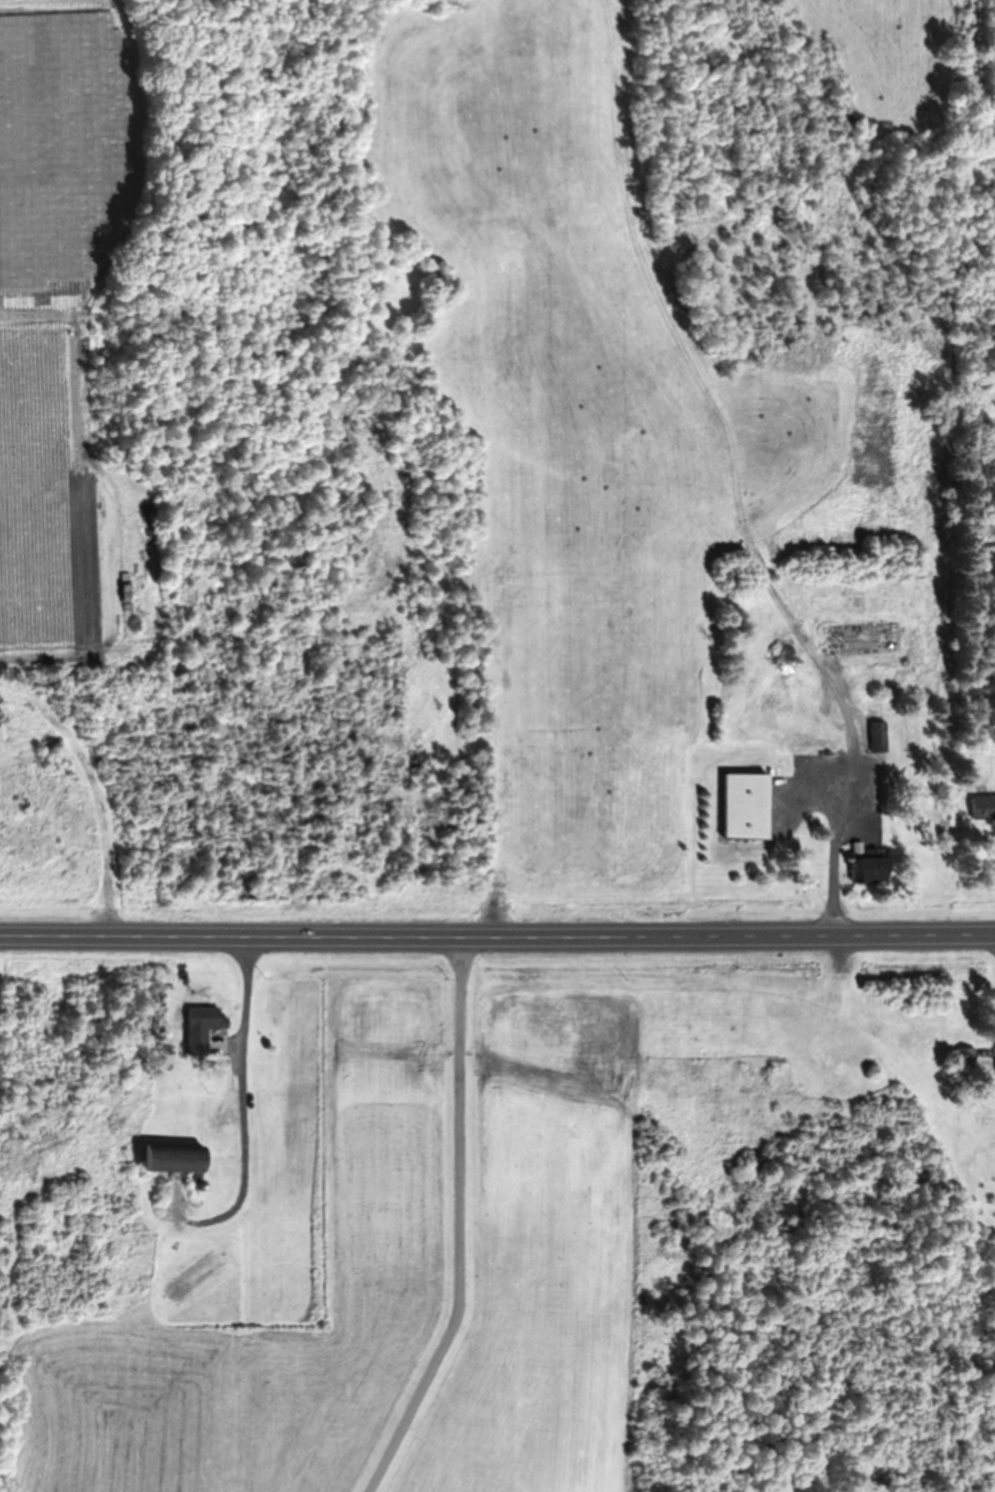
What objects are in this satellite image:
building: (863, 640)
building: (874, 738)
building: (805, 741)
building: (736, 807)
building: (980, 808)
building: (861, 871)
road: (497, 934)
building: (204, 1026)
building: (961, 1059)
building: (178, 1159)

